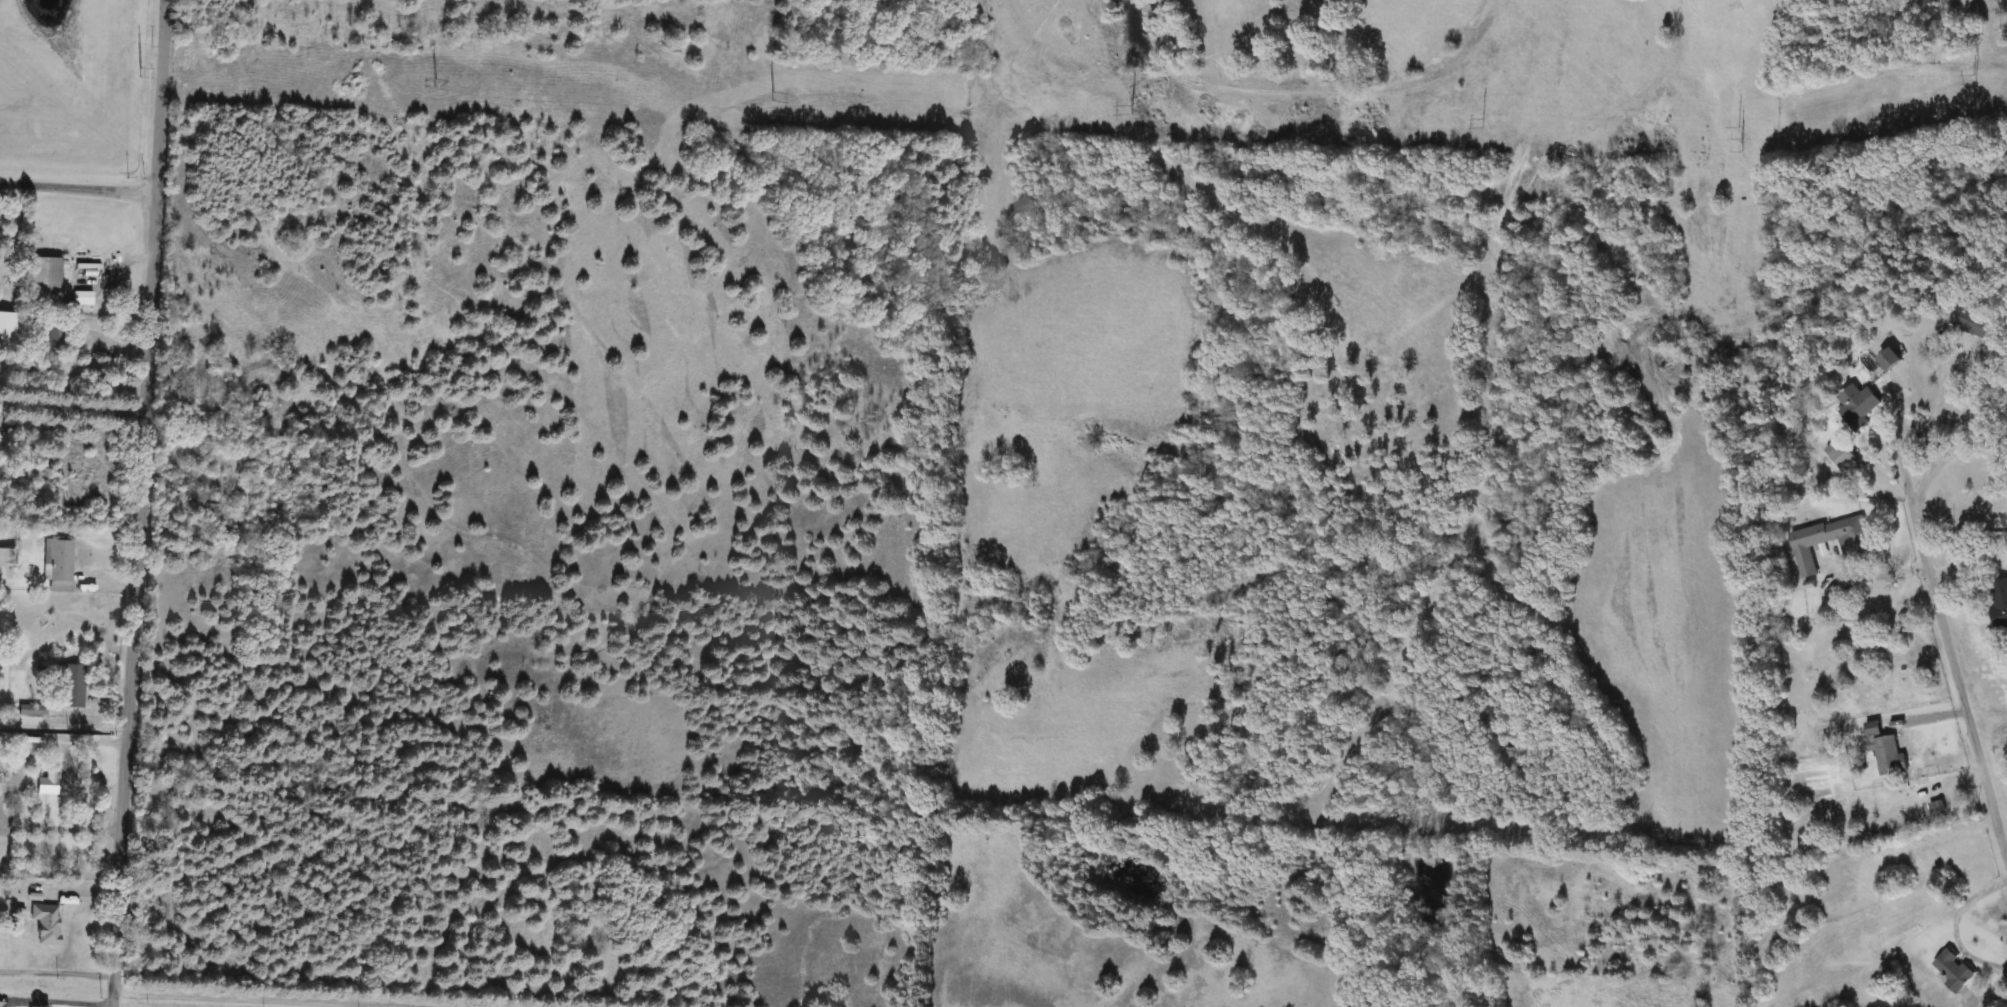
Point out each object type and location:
building: (1960, 8)
power tower: (138, 72)
power tower: (1972, 81)
power tower: (435, 86)
power tower: (771, 97)
power tower: (1128, 108)
power tower: (1481, 124)
power tower: (1740, 140)
road: (76, 191)
building: (43, 281)
building: (6, 328)
building: (56, 336)
building: (1887, 359)
building: (1857, 406)
road: (73, 416)
road: (1951, 440)
building: (1839, 454)
road: (141, 503)
building: (206, 503)
building: (1856, 549)
building: (7, 557)
building: (58, 565)
road: (1969, 567)
building: (1997, 603)
road: (1953, 654)
building: (72, 687)
road: (64, 727)
building: (1884, 751)
building: (67, 775)
building: (44, 924)
building: (1953, 971)
road: (57, 974)
road: (238, 1001)

